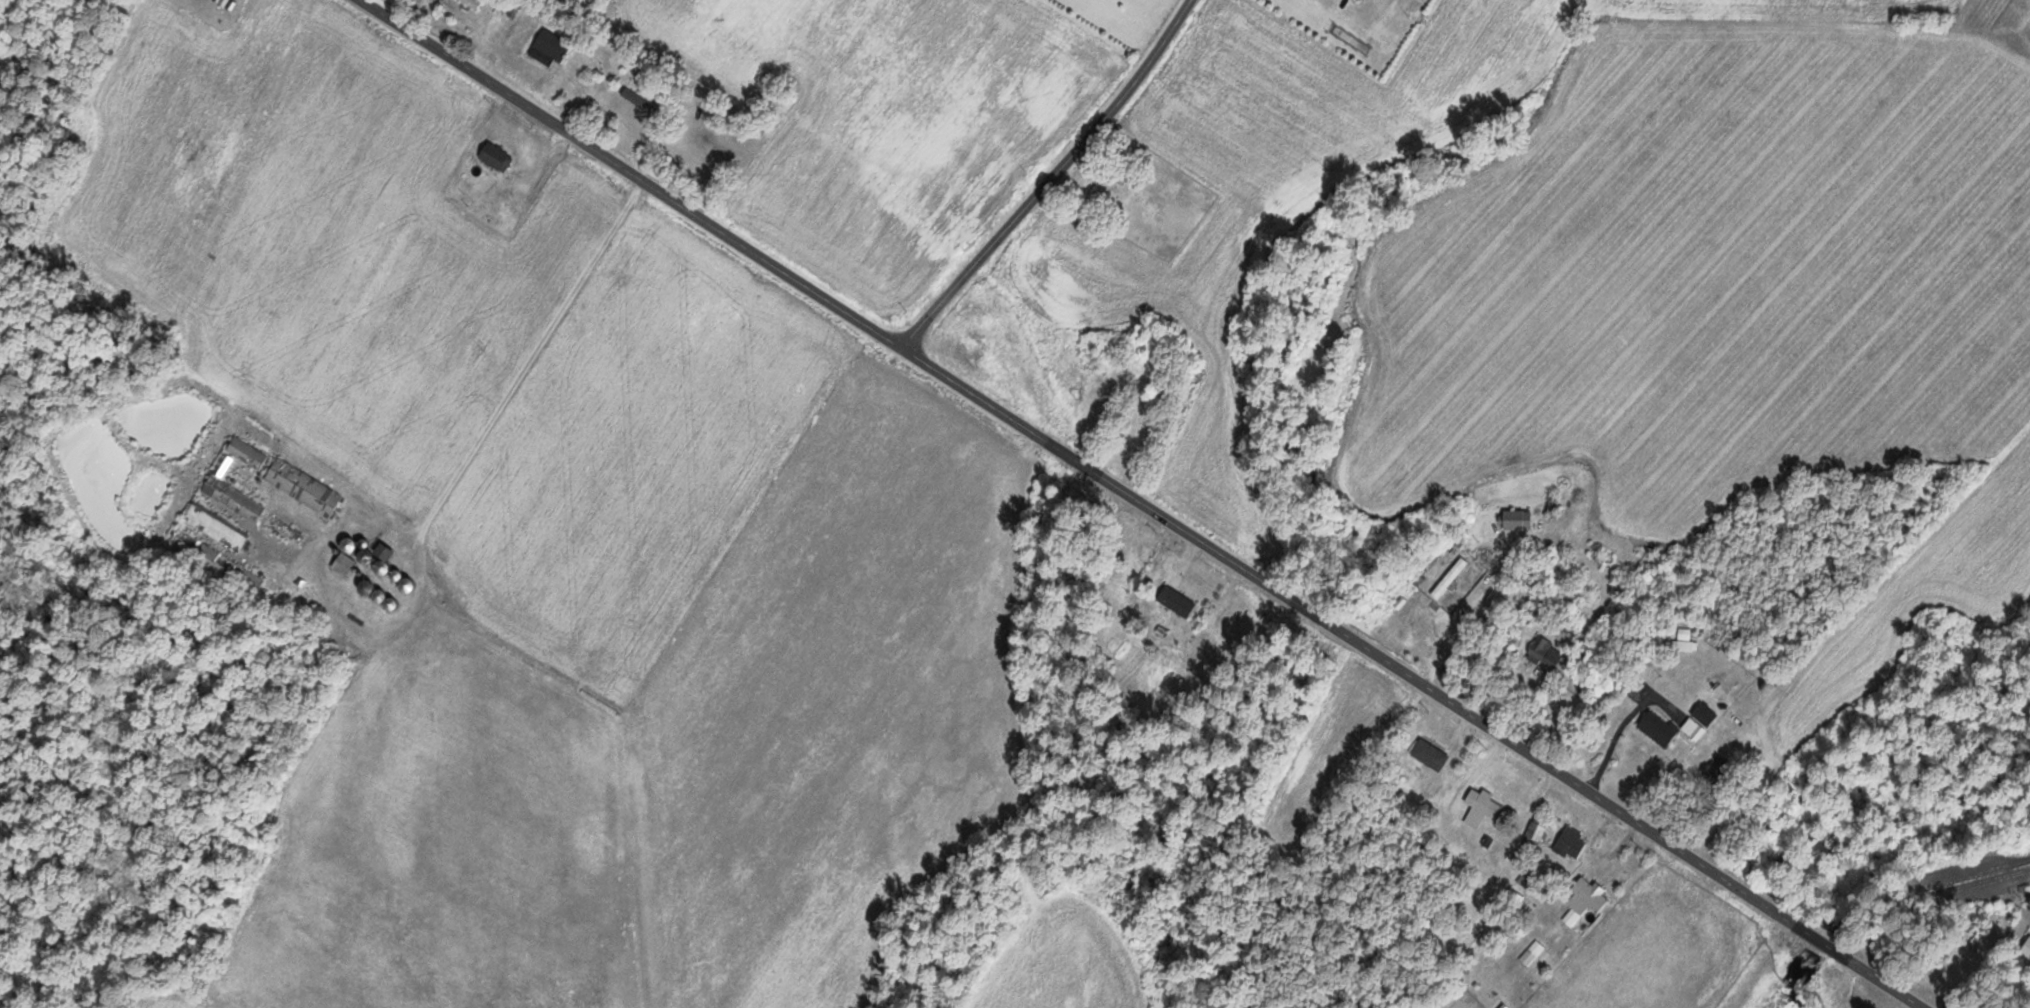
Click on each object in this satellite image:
building: (1363, 2)
building: (471, 4)
building: (550, 47)
building: (496, 156)
road: (1051, 177)
road: (470, 319)
building: (1165, 395)
building: (247, 453)
building: (222, 465)
building: (303, 487)
building: (233, 498)
road: (1148, 503)
building: (1553, 505)
building: (1518, 519)
building: (216, 526)
building: (382, 560)
building: (215, 562)
building: (343, 564)
building: (1449, 578)
building: (407, 585)
building: (1177, 601)
building: (1685, 645)
building: (1546, 653)
building: (1654, 720)
building: (1430, 755)
building: (1719, 769)
road: (1257, 775)
building: (1482, 807)
building: (1537, 830)
building: (1572, 842)
road: (1498, 892)
building: (1587, 896)
building: (1532, 952)
building: (2026, 953)
road: (1237, 954)

